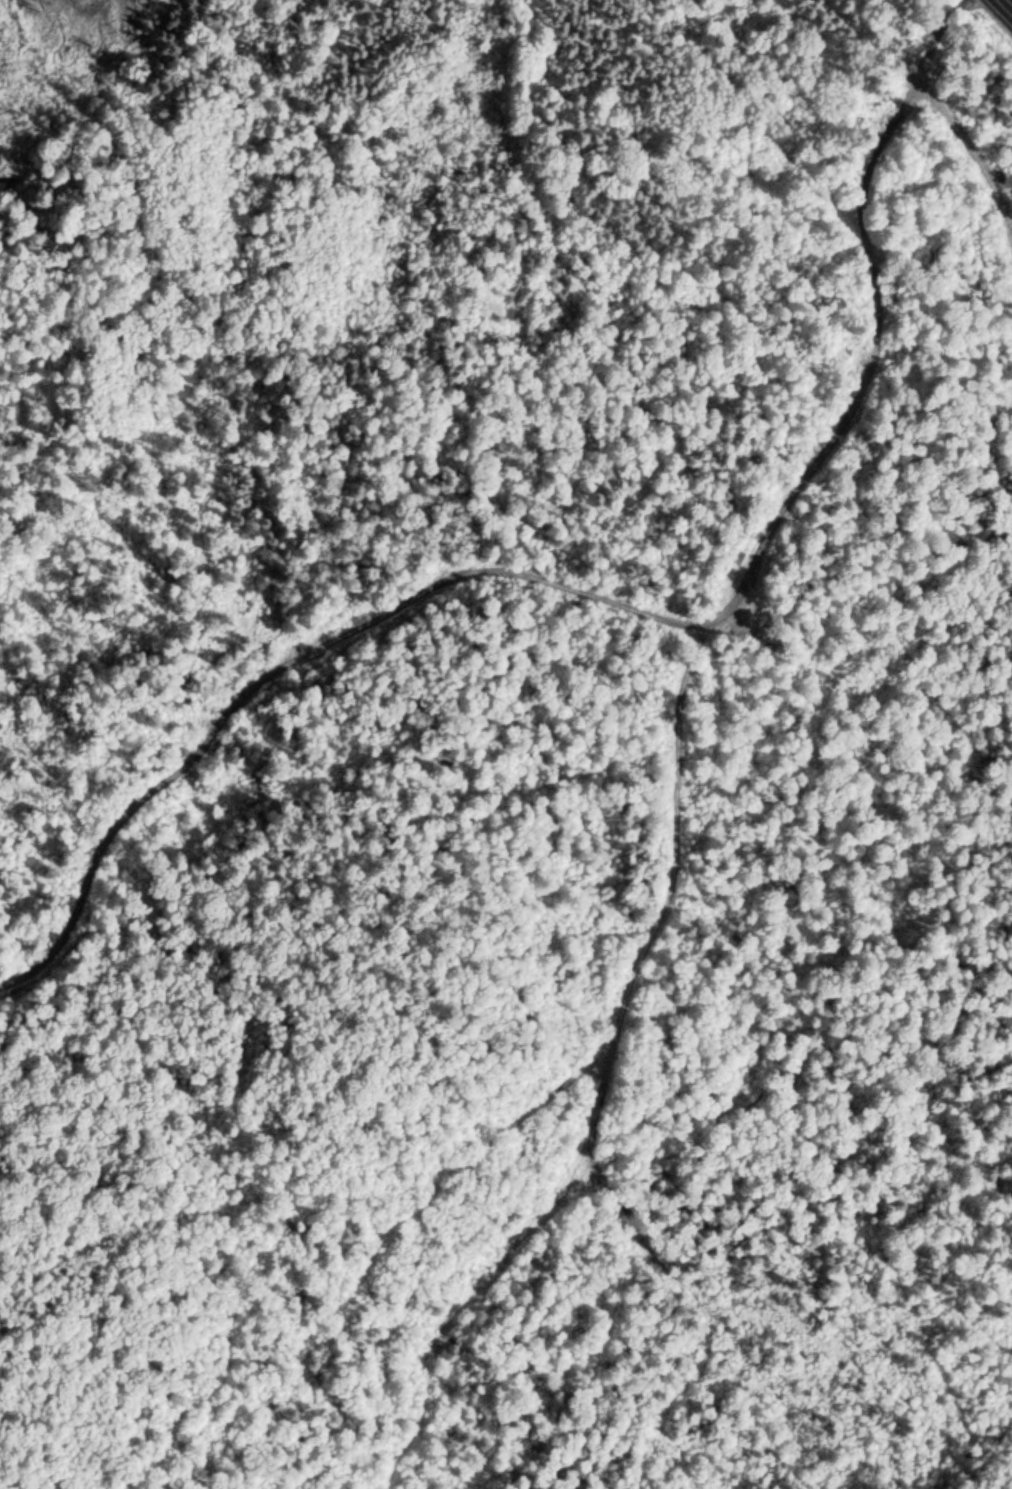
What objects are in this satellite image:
road: (1005, 6)
road: (618, 592)

